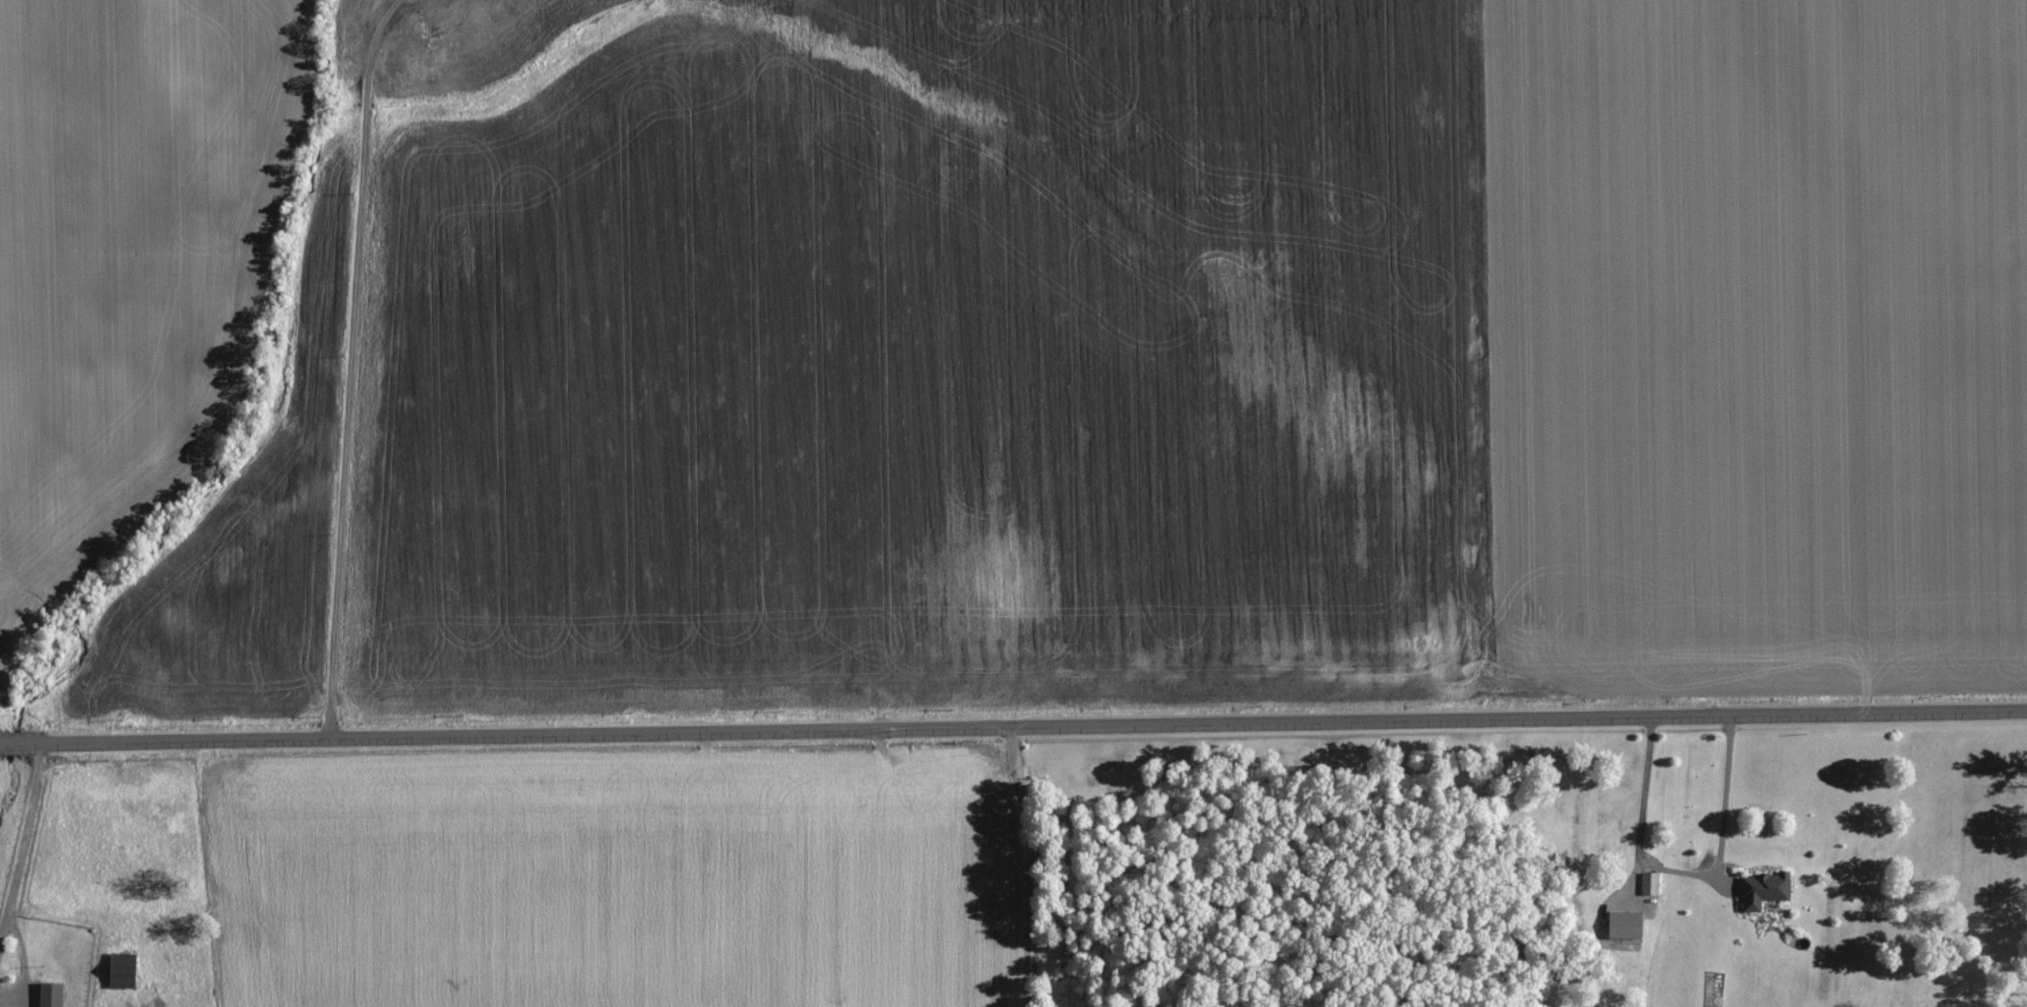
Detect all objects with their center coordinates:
road: (346, 363)
road: (1013, 726)
road: (1720, 794)
road: (22, 835)
building: (1771, 878)
building: (1753, 905)
building: (1627, 925)
building: (123, 971)

